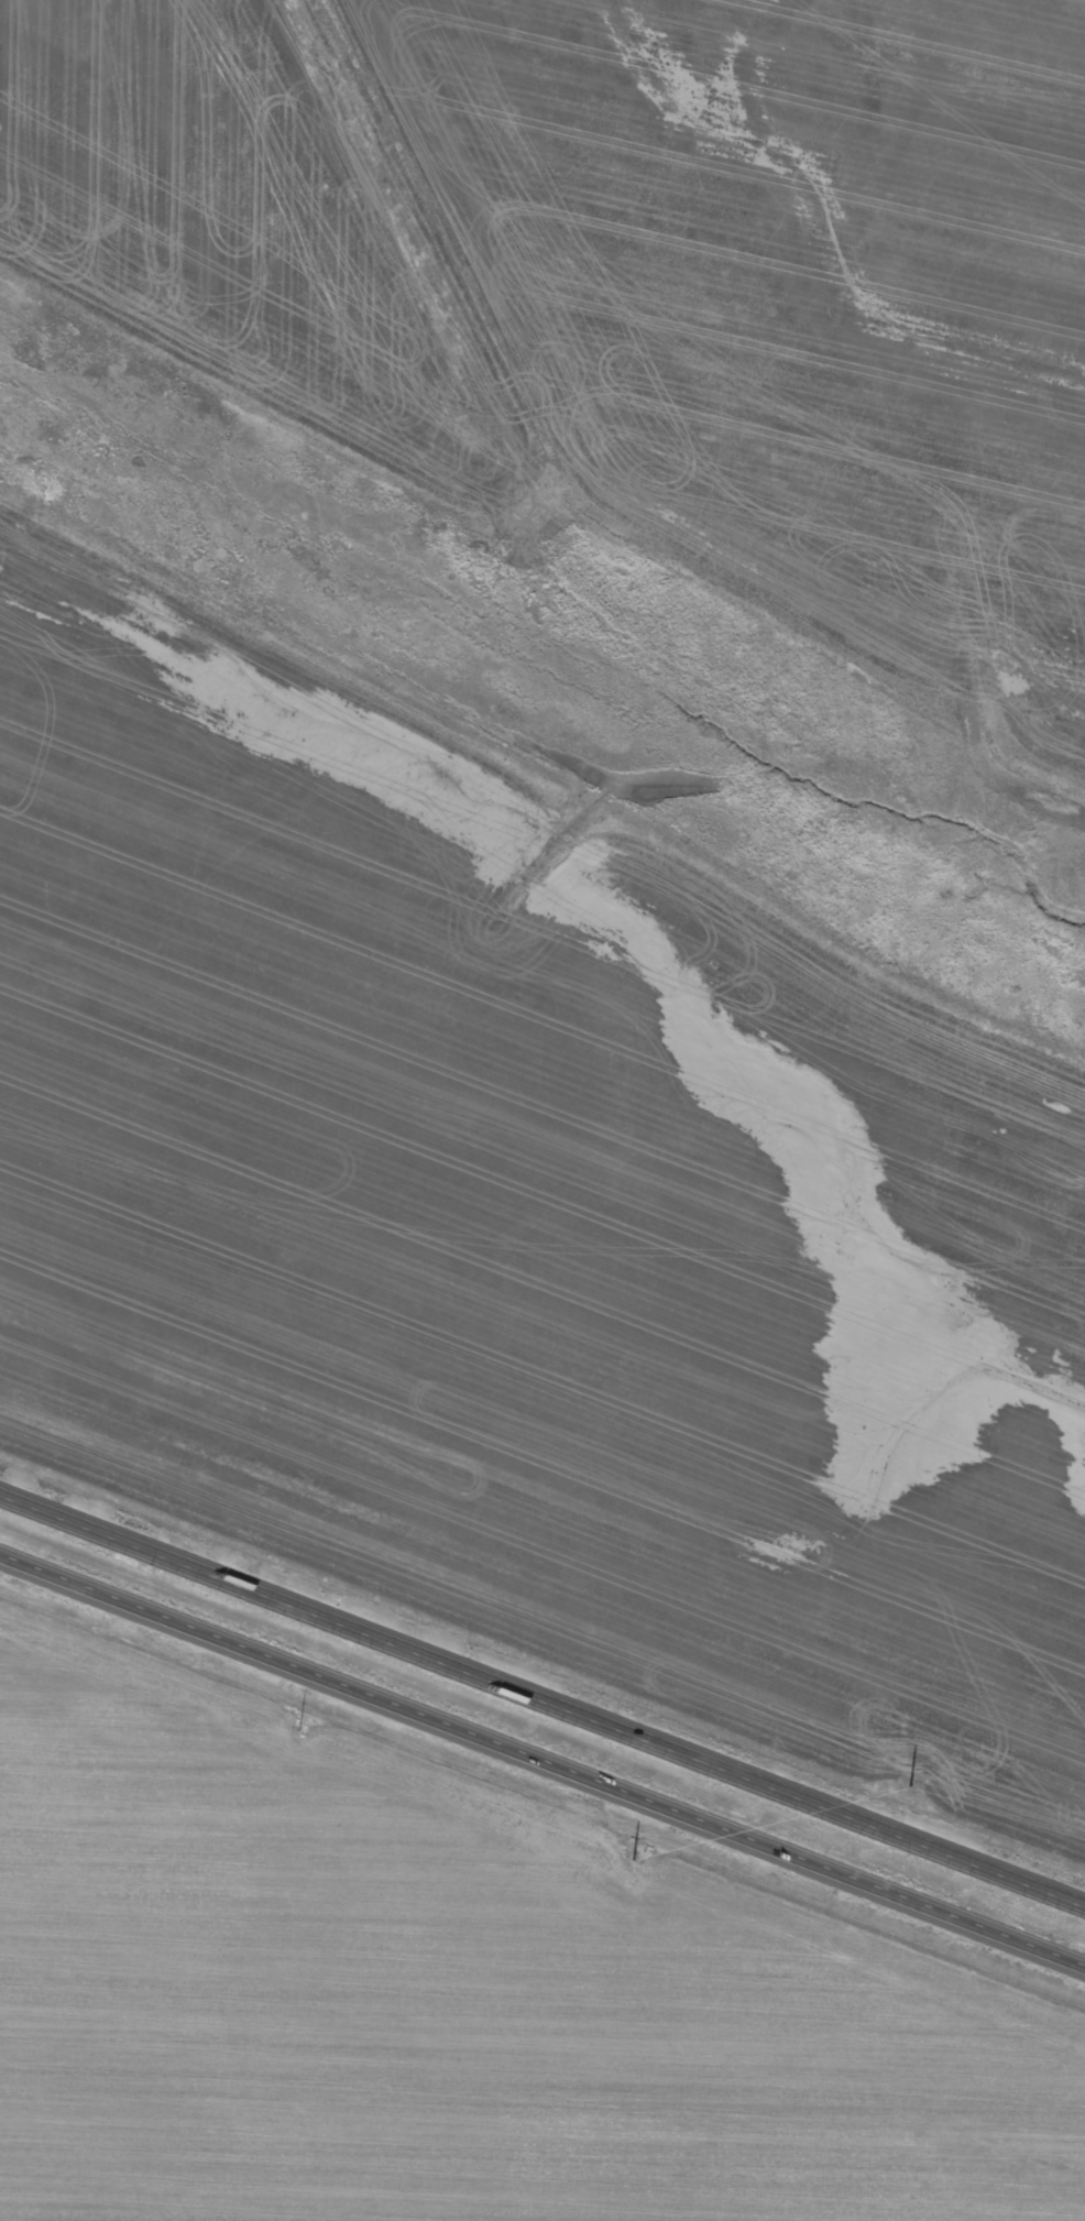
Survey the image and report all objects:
road: (542, 1698)
power tower: (297, 1725)
road: (541, 1769)
power tower: (912, 1798)
power tower: (637, 1851)

